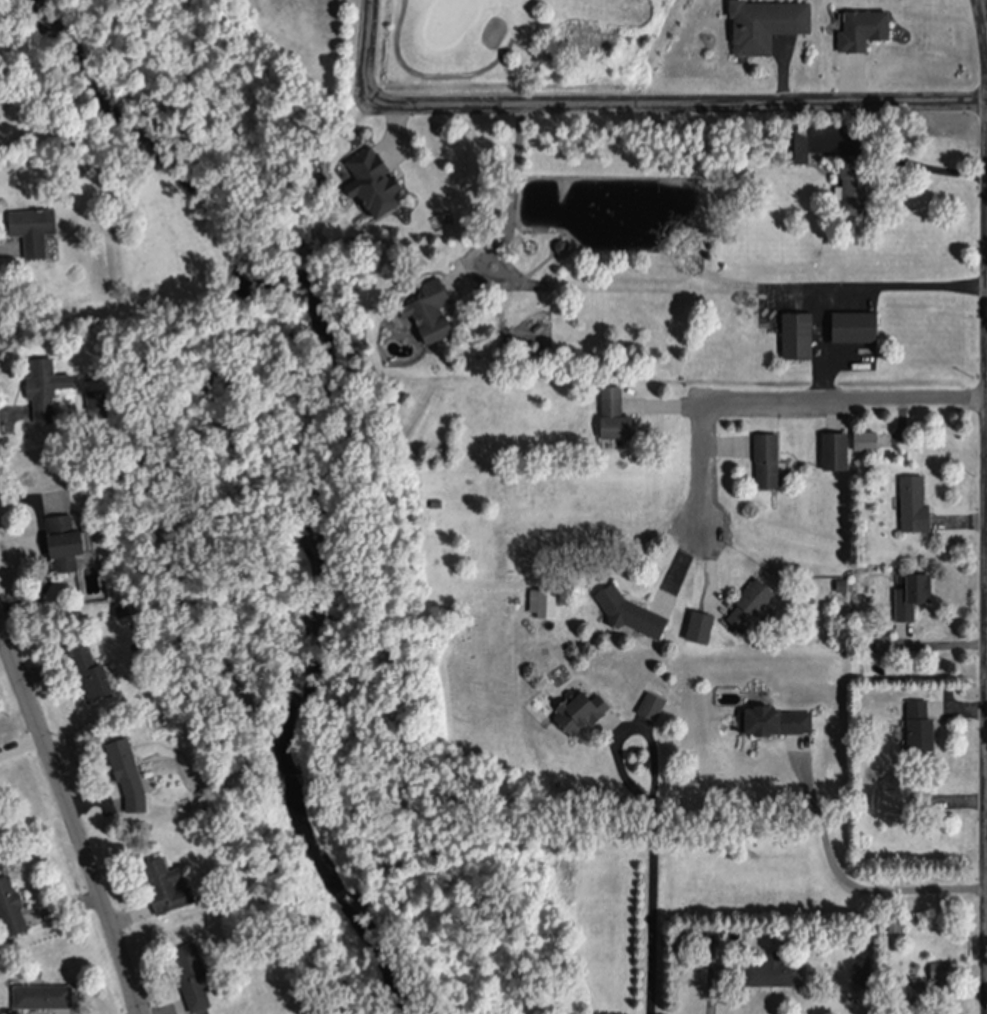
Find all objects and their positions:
road: (984, 11)
building: (766, 20)
building: (862, 23)
park: (475, 37)
road: (626, 108)
building: (65, 126)
building: (795, 140)
road: (923, 167)
building: (374, 178)
building: (852, 184)
road: (510, 211)
building: (33, 222)
road: (905, 286)
building: (430, 307)
building: (854, 322)
building: (797, 331)
road: (823, 345)
building: (42, 382)
building: (97, 396)
road: (785, 403)
building: (614, 411)
building: (865, 437)
building: (835, 447)
building: (766, 456)
building: (913, 501)
building: (436, 502)
building: (65, 535)
building: (842, 583)
building: (912, 592)
building: (750, 602)
building: (123, 604)
building: (630, 609)
building: (883, 642)
building: (91, 668)
building: (651, 704)
building: (580, 710)
building: (773, 718)
building: (919, 723)
road: (636, 724)
building: (897, 731)
building: (125, 762)
building: (893, 798)
road: (71, 816)
road: (859, 876)
building: (166, 882)
building: (11, 905)
road: (662, 907)
building: (896, 924)
building: (712, 935)
building: (693, 938)
building: (940, 970)
building: (773, 971)
building: (193, 973)
building: (912, 988)
building: (43, 994)

